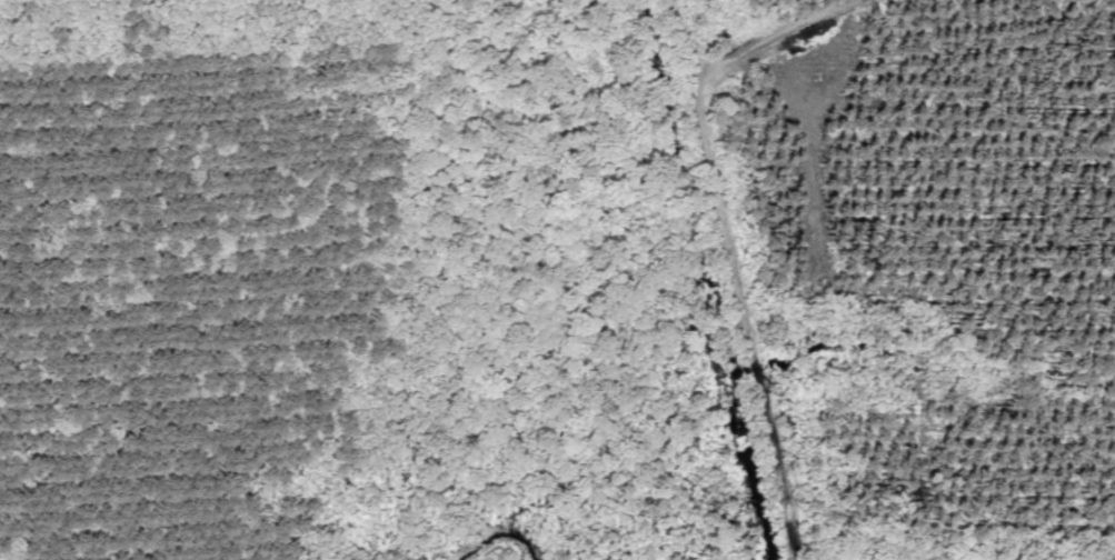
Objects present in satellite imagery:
road: (700, 172)

